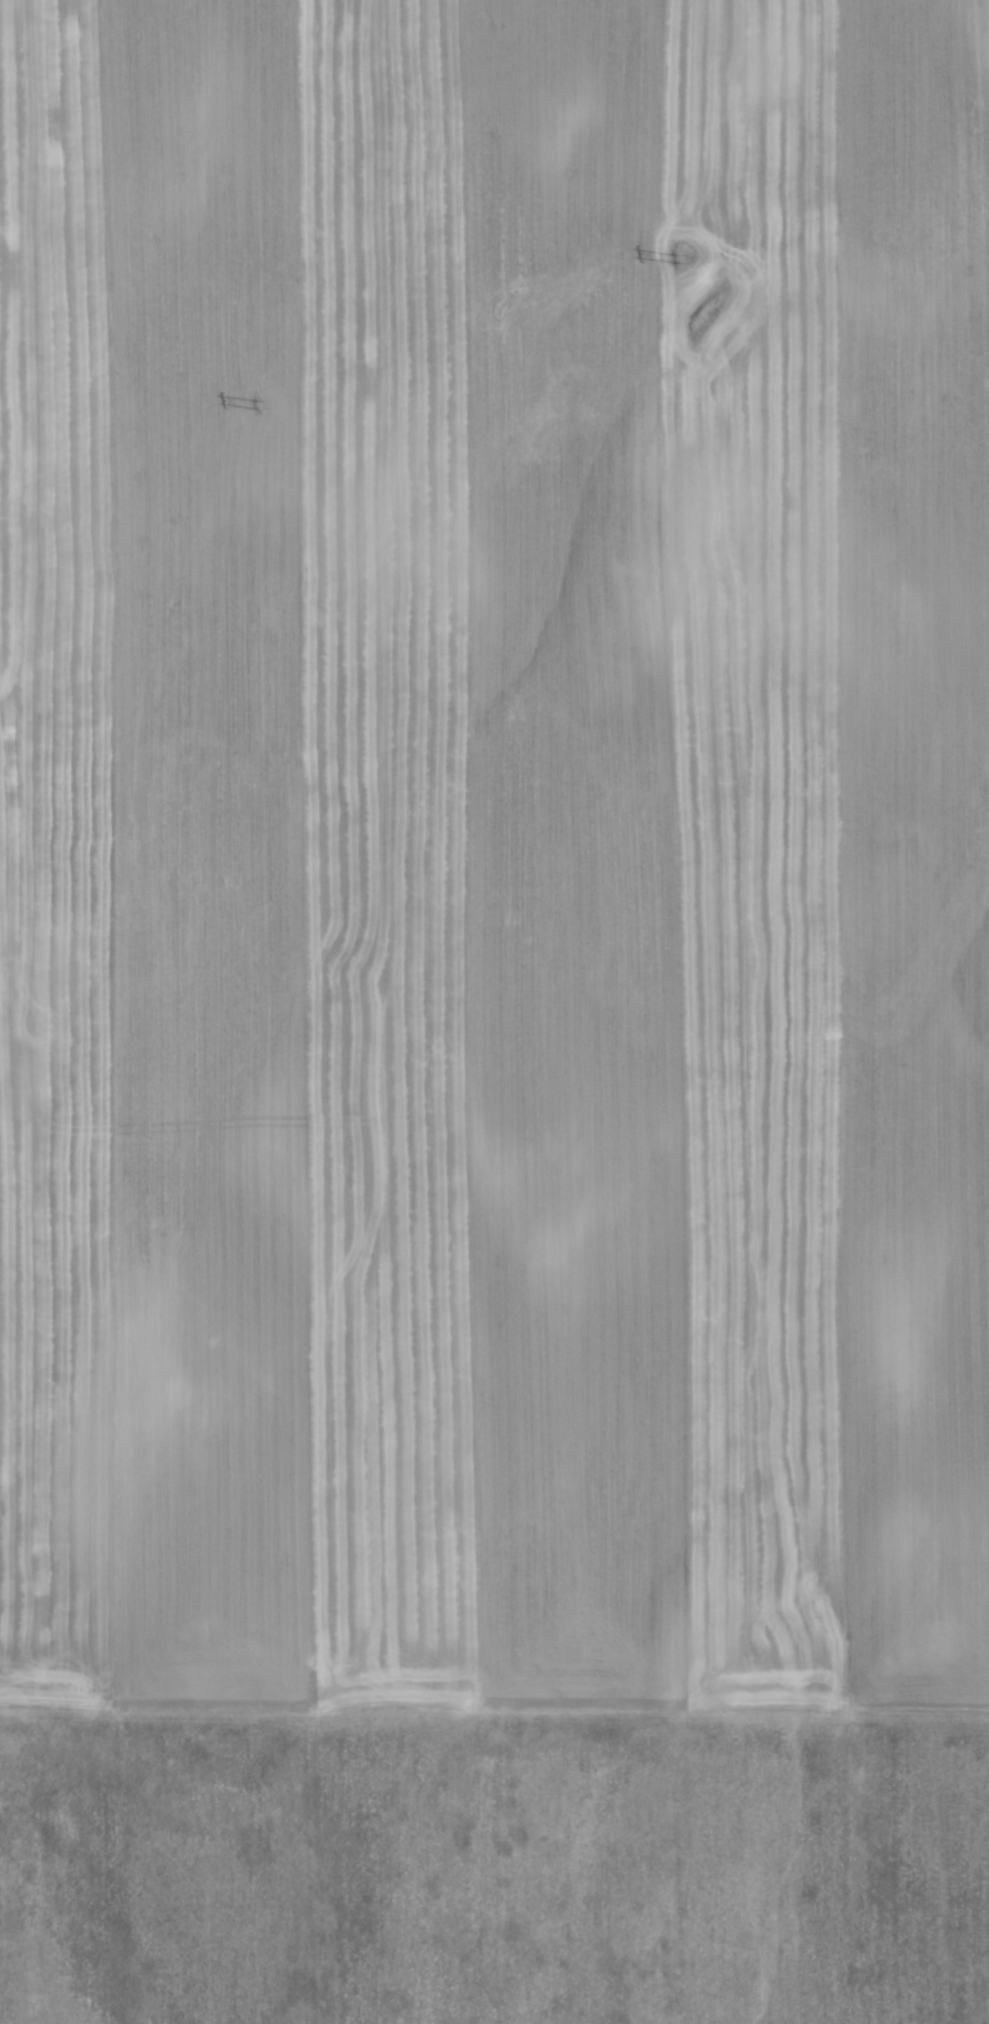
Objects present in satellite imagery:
power tower: (677, 258)
power tower: (257, 403)

